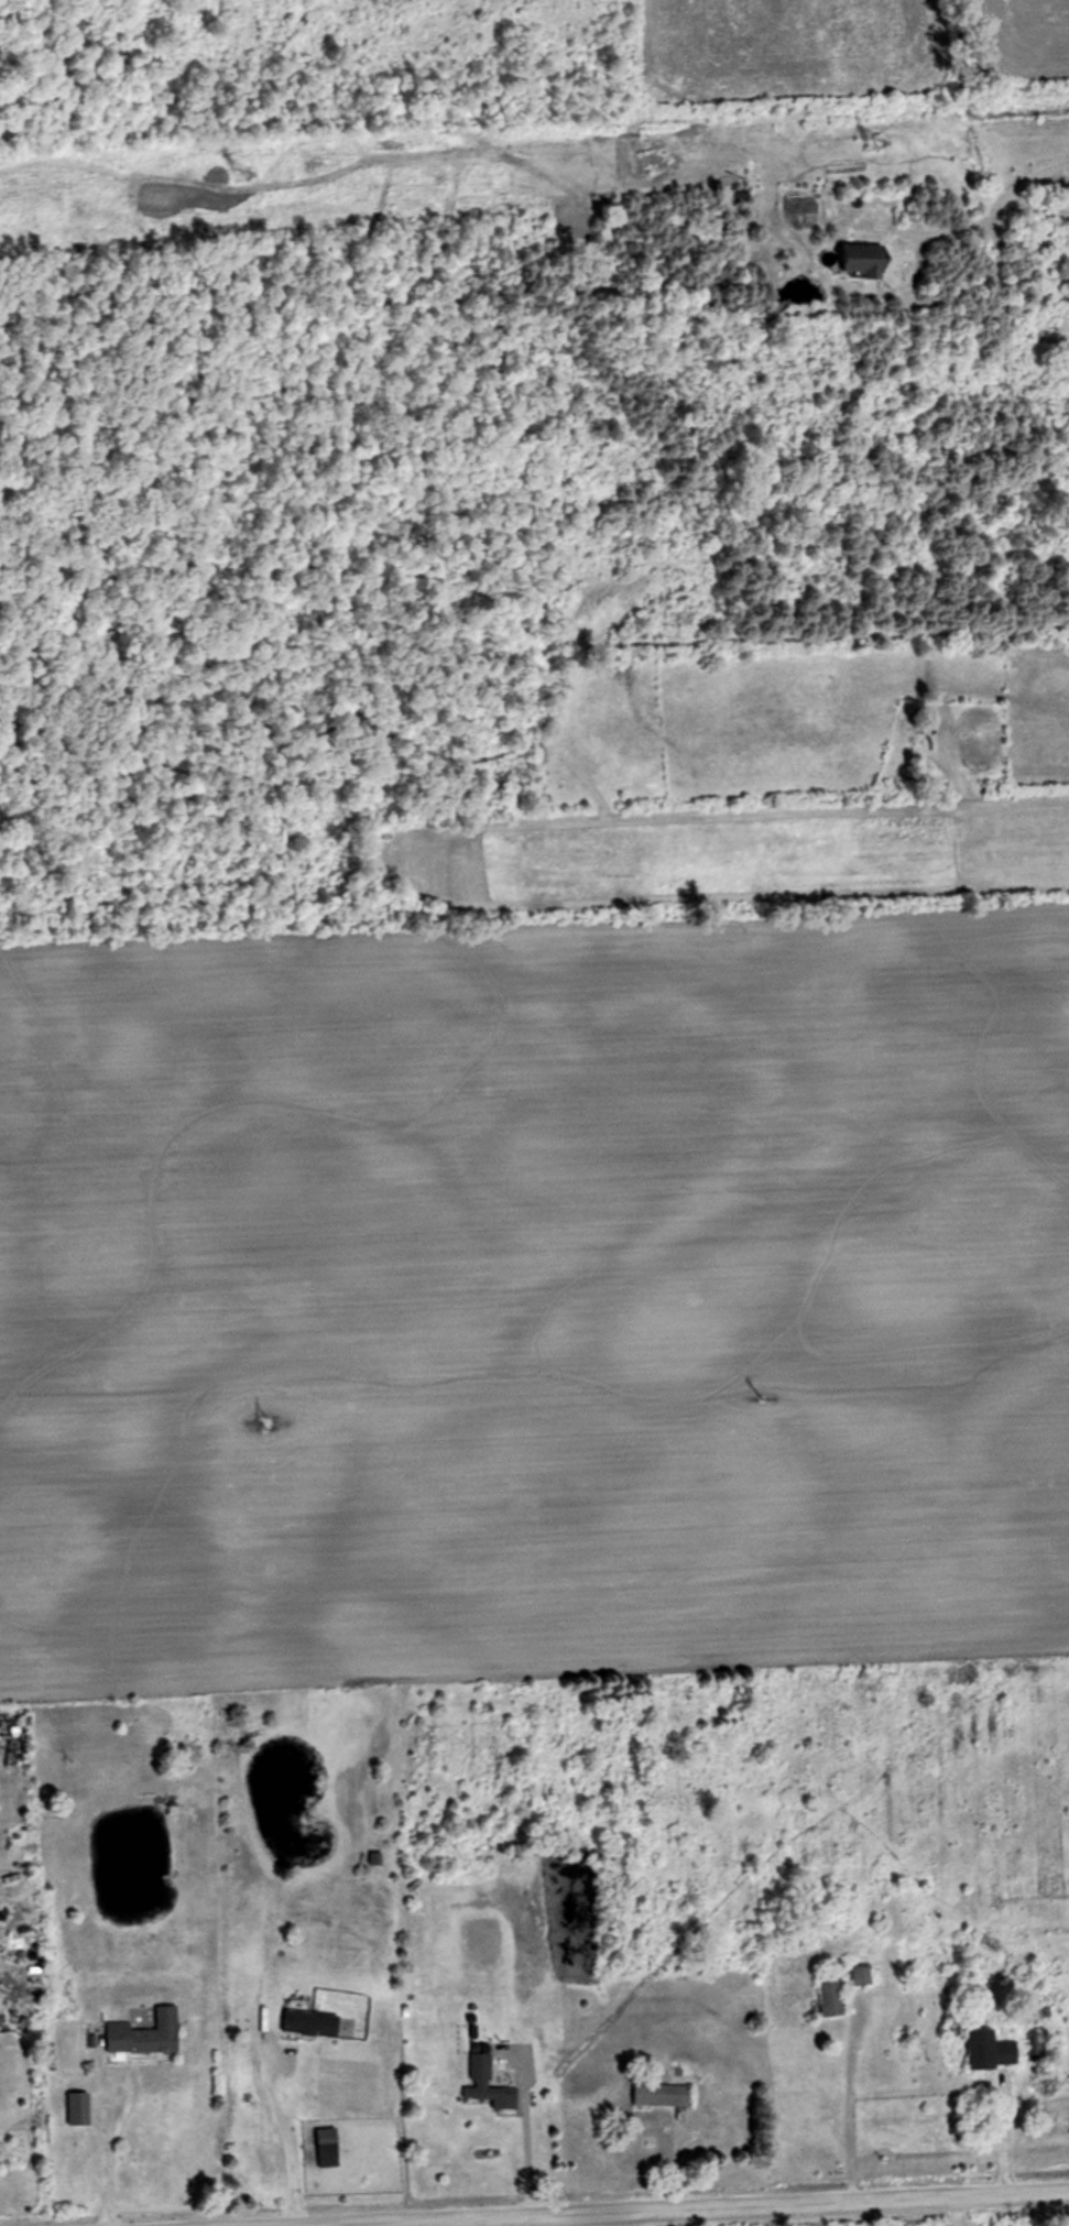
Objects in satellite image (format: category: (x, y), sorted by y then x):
power tower: (879, 144)
power tower: (242, 176)
road: (1016, 189)
building: (868, 259)
power tower: (762, 1401)
power tower: (270, 1425)
building: (832, 1994)
building: (313, 2022)
building: (146, 2034)
building: (1040, 2048)
building: (994, 2051)
building: (486, 2077)
building: (662, 2094)
road: (276, 2132)
building: (328, 2138)
road: (1005, 2140)
road: (521, 2145)
road: (105, 2154)
road: (759, 2212)
road: (948, 2215)
road: (697, 2220)
road: (644, 2222)

